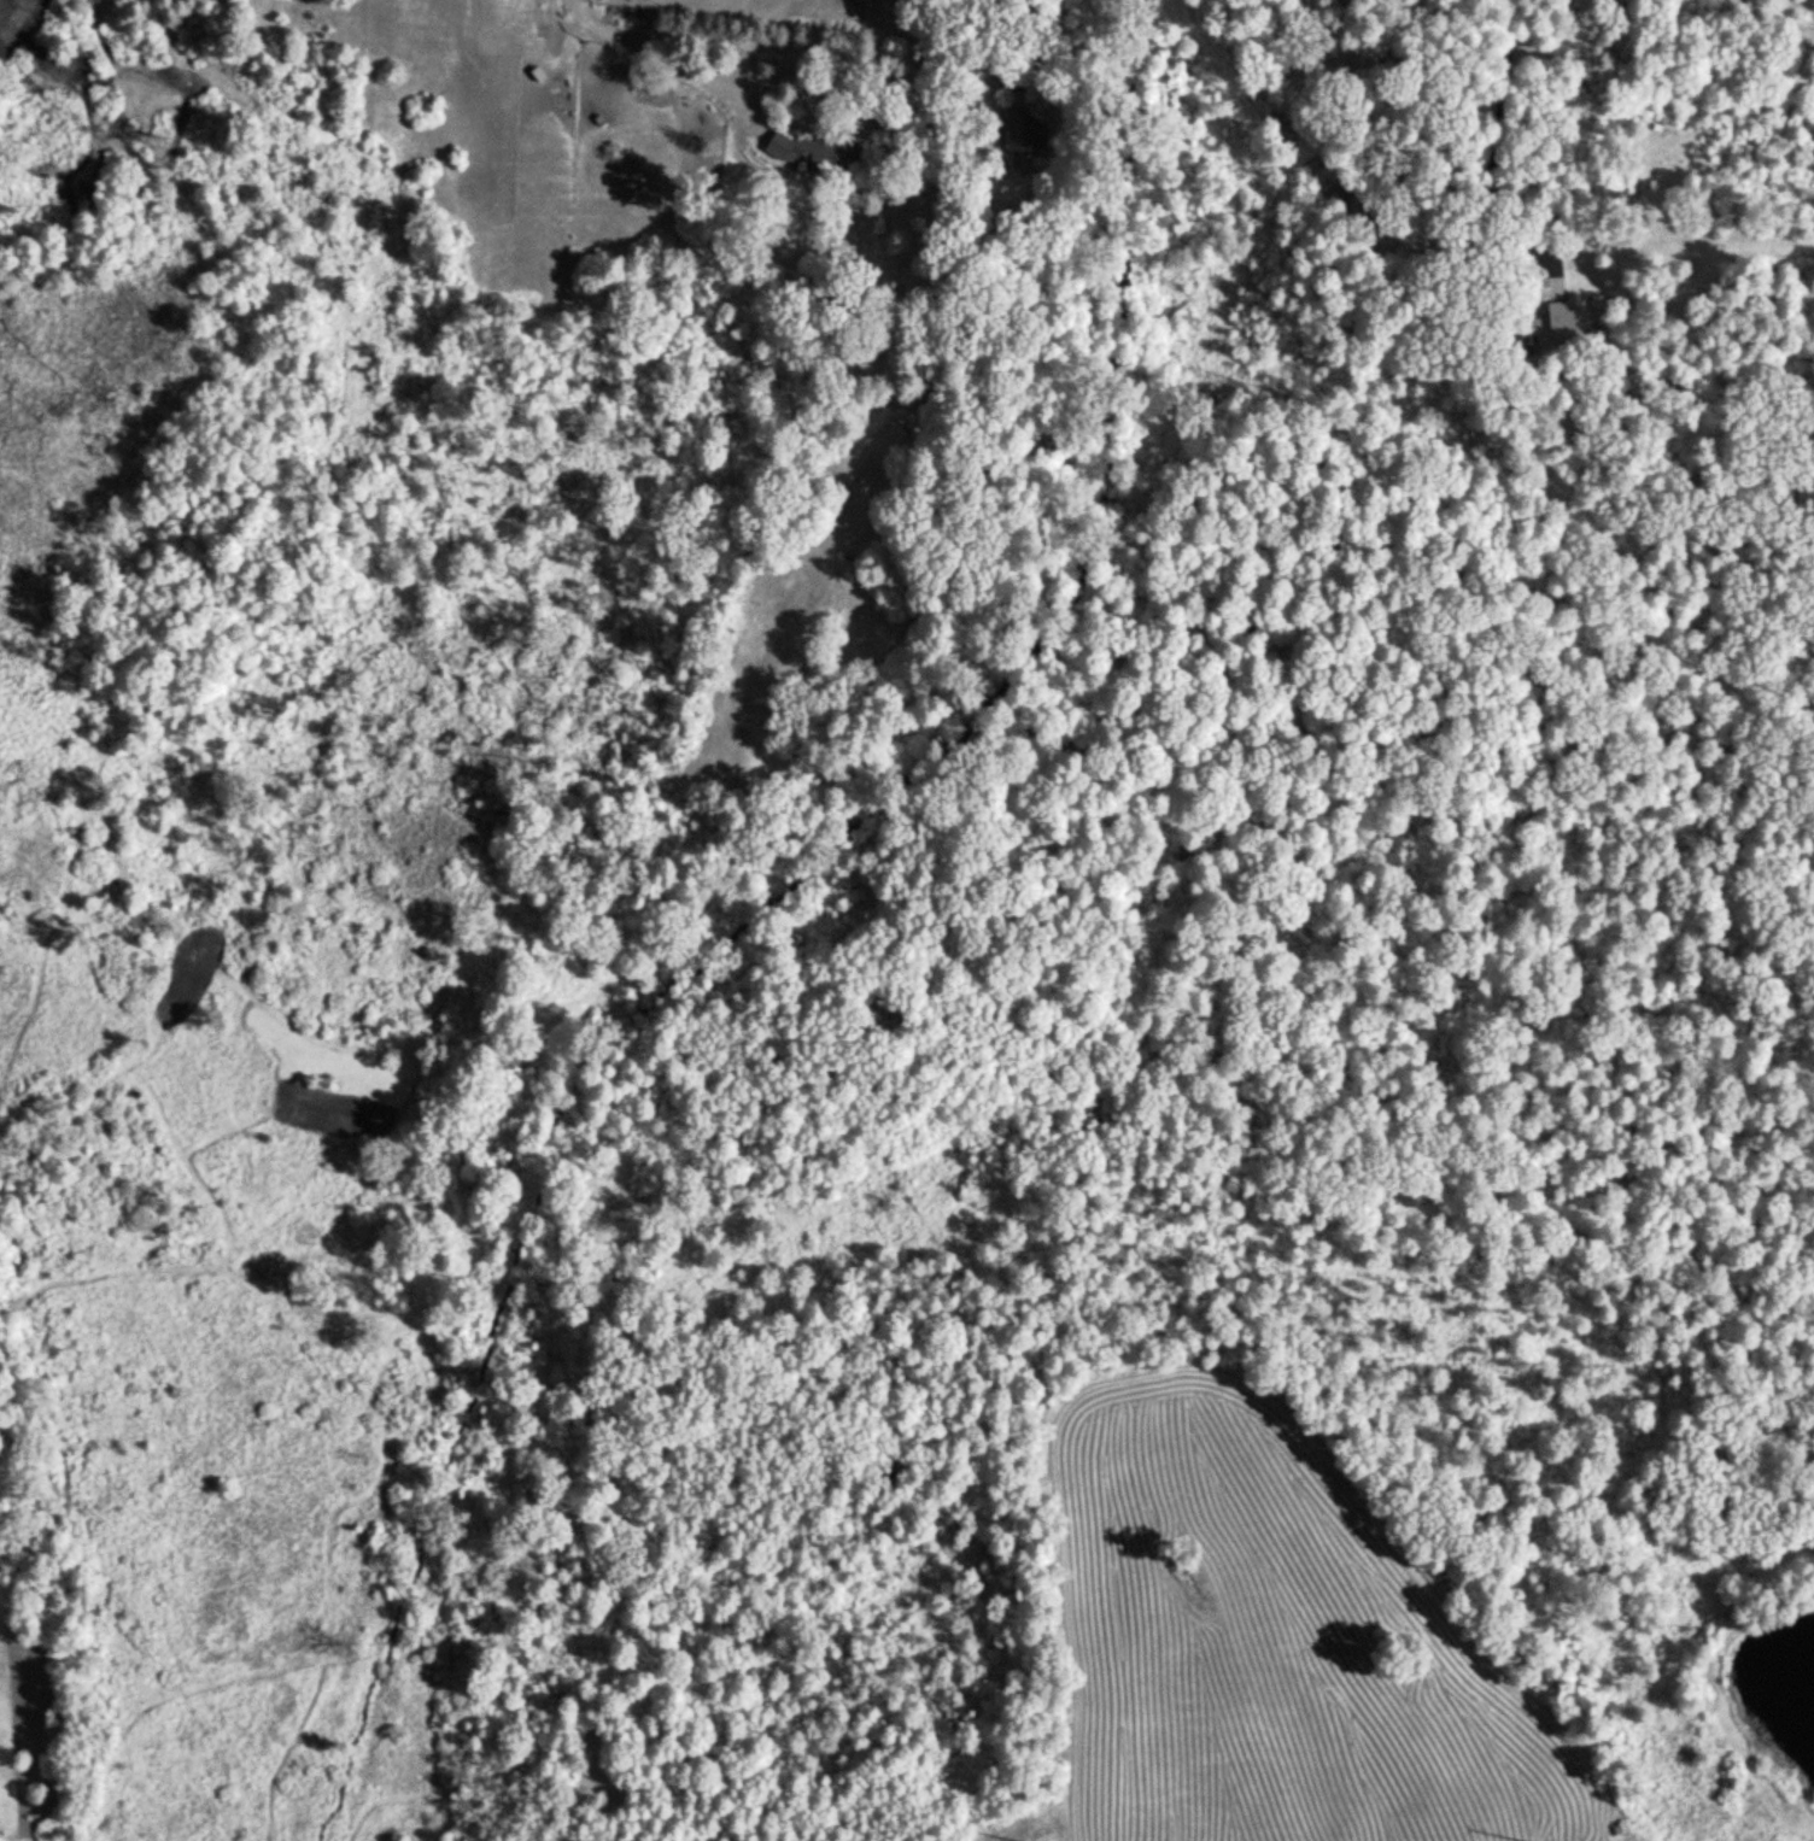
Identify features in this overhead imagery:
road: (1031, 45)
road: (662, 55)
road: (1491, 123)
building: (1023, 129)
building: (1552, 322)
crop: (1270, 1648)
power tower: (1549, 1835)
power tower: (1052, 1840)

